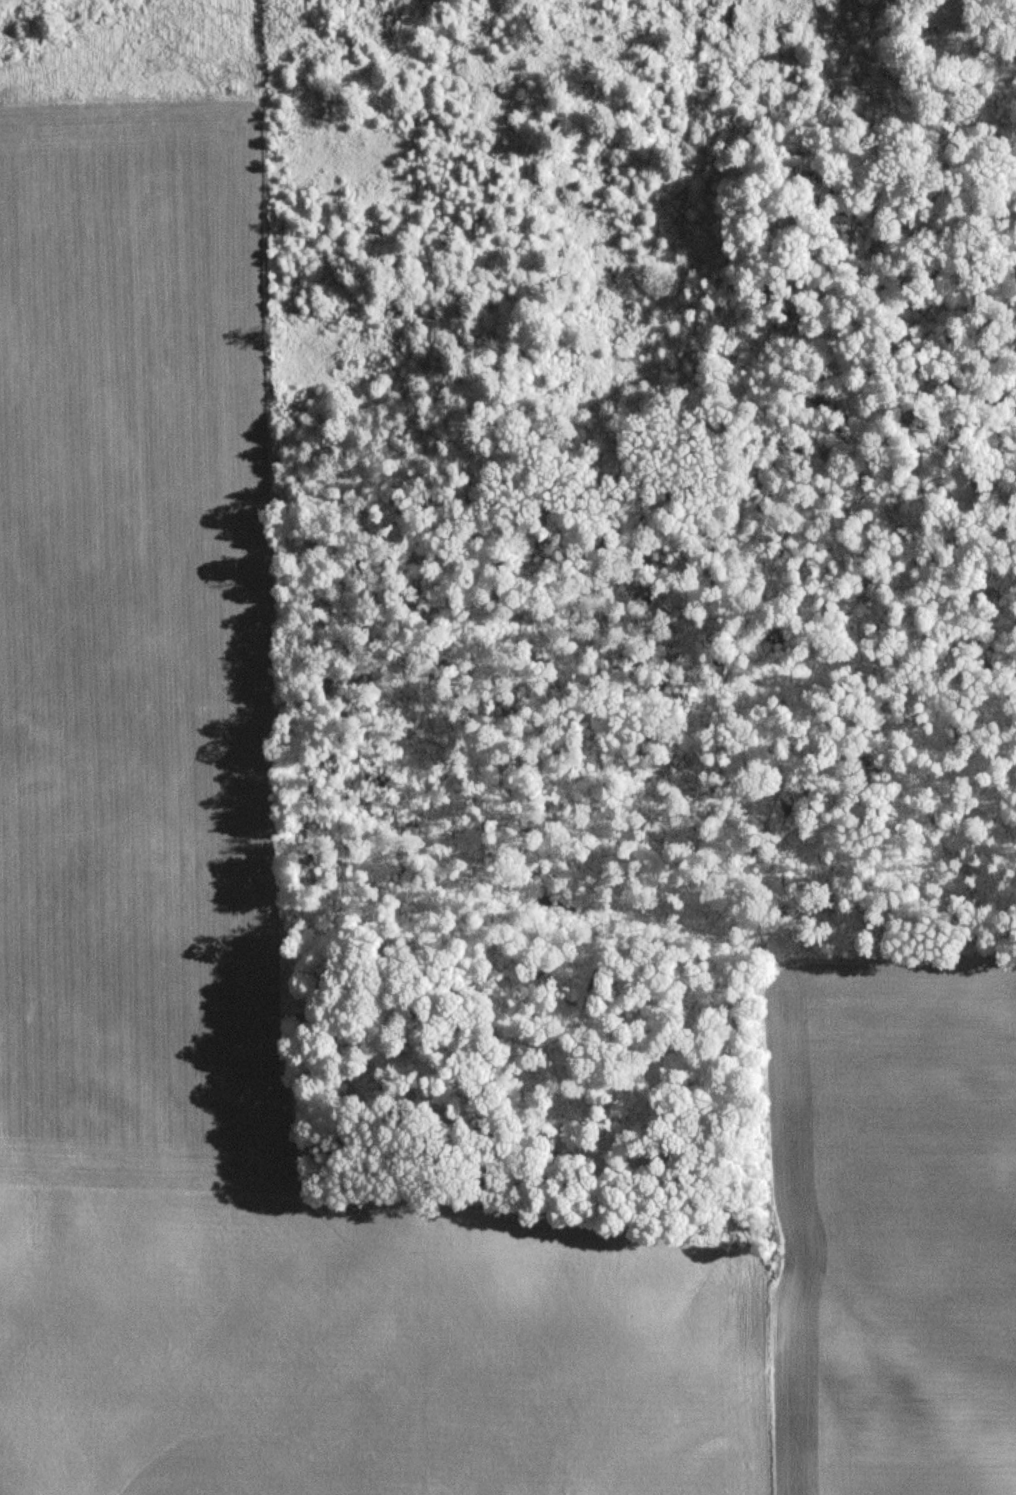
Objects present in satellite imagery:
crop: (370, 1352)

